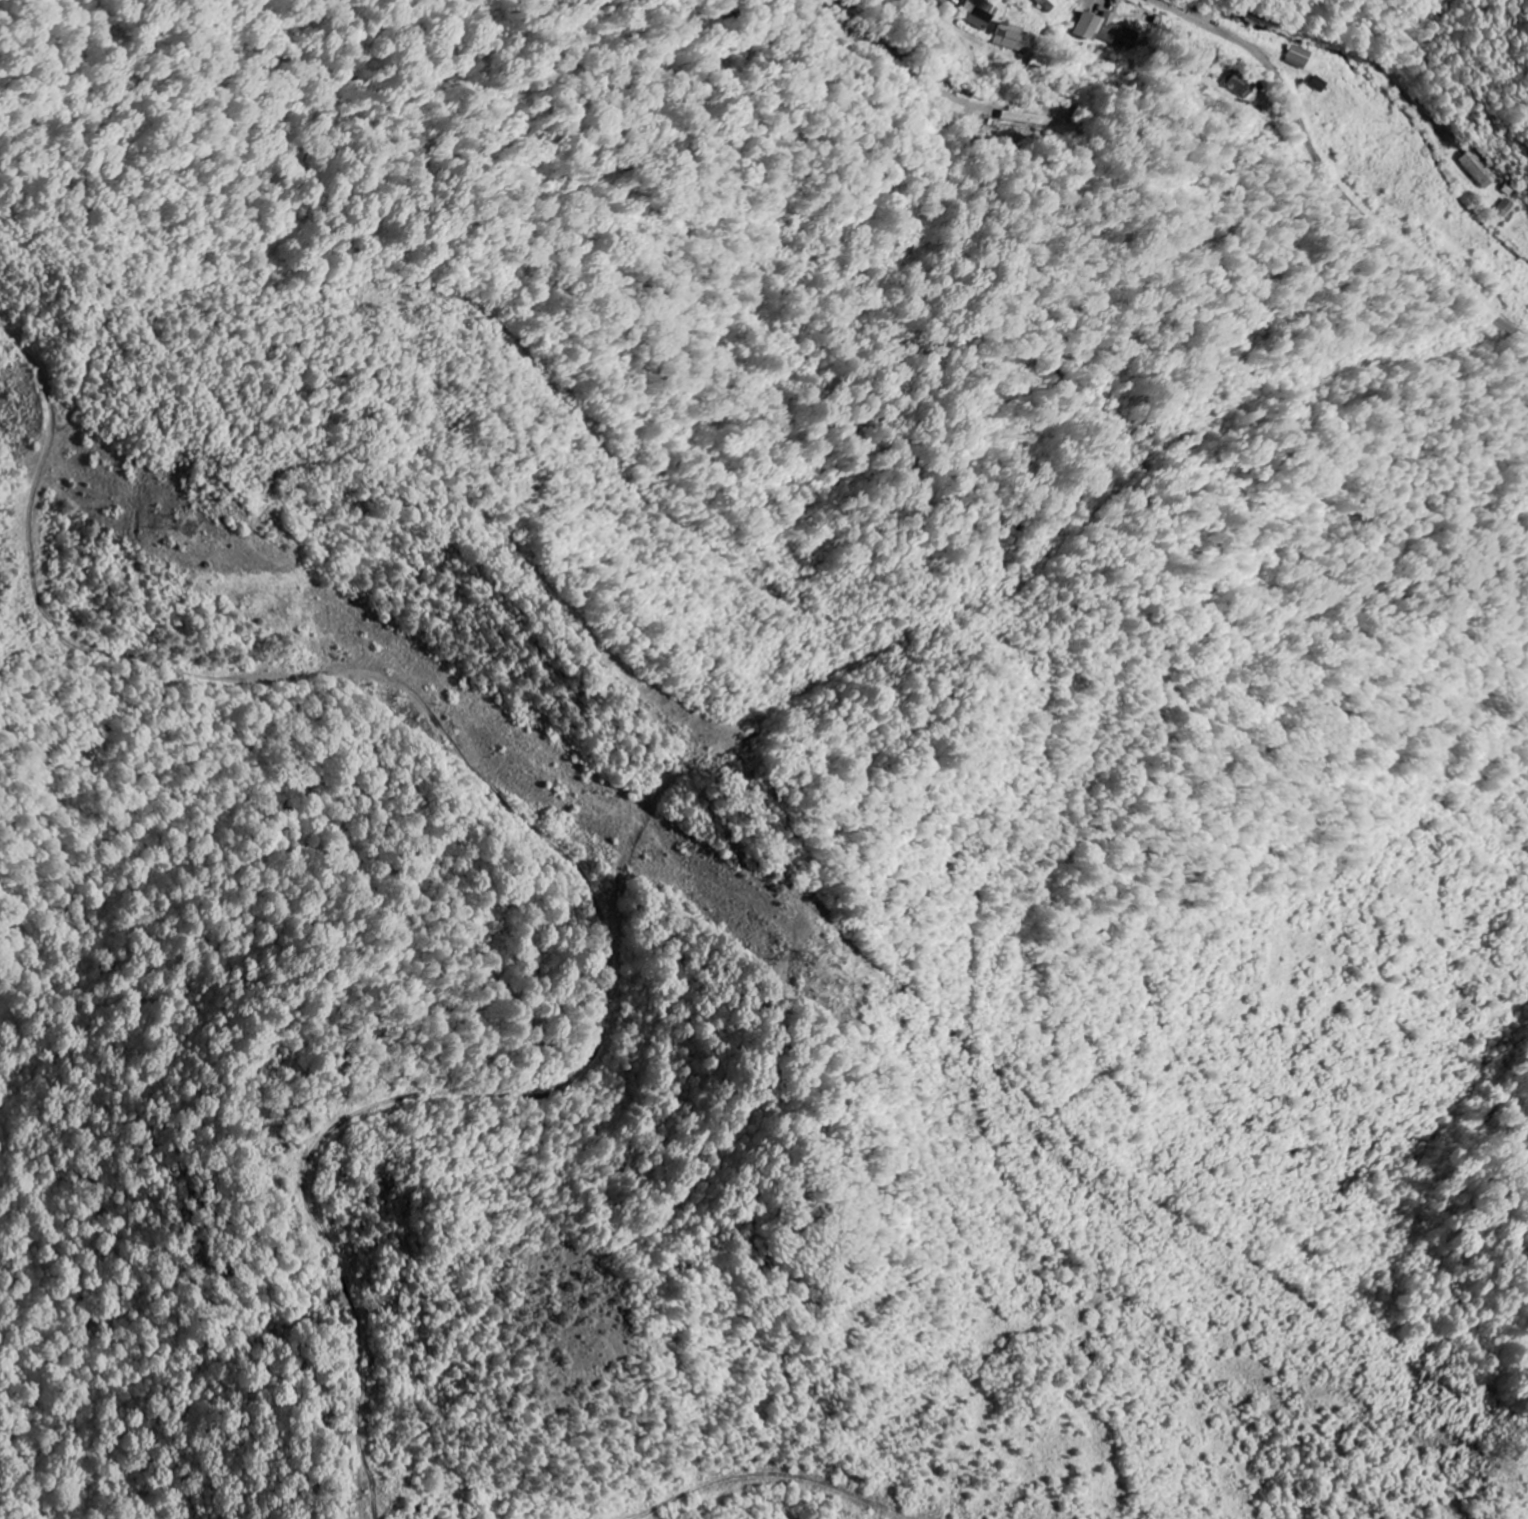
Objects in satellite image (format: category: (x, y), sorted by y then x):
road: (857, 5)
building: (979, 14)
building: (1100, 29)
building: (1010, 38)
building: (1298, 56)
building: (1238, 85)
building: (1478, 169)
road: (1329, 173)
building: (1504, 208)

